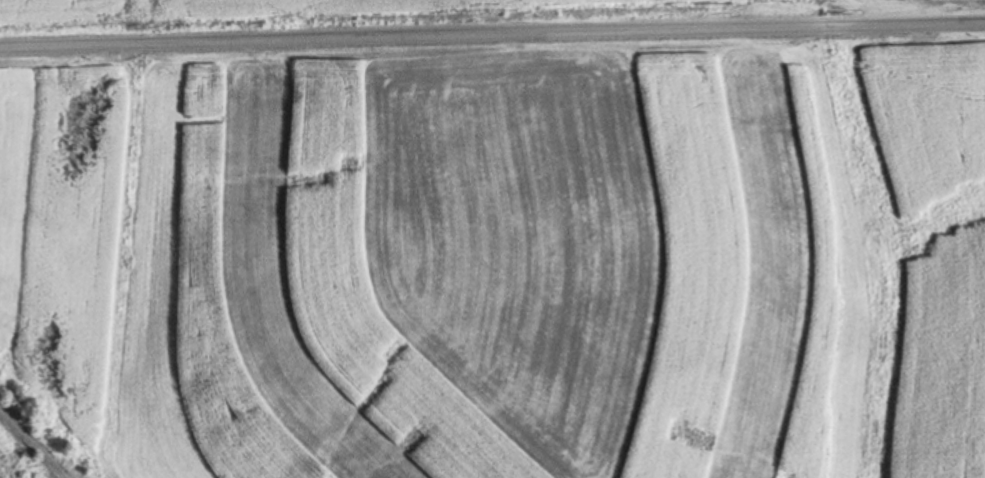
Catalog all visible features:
road: (492, 33)

